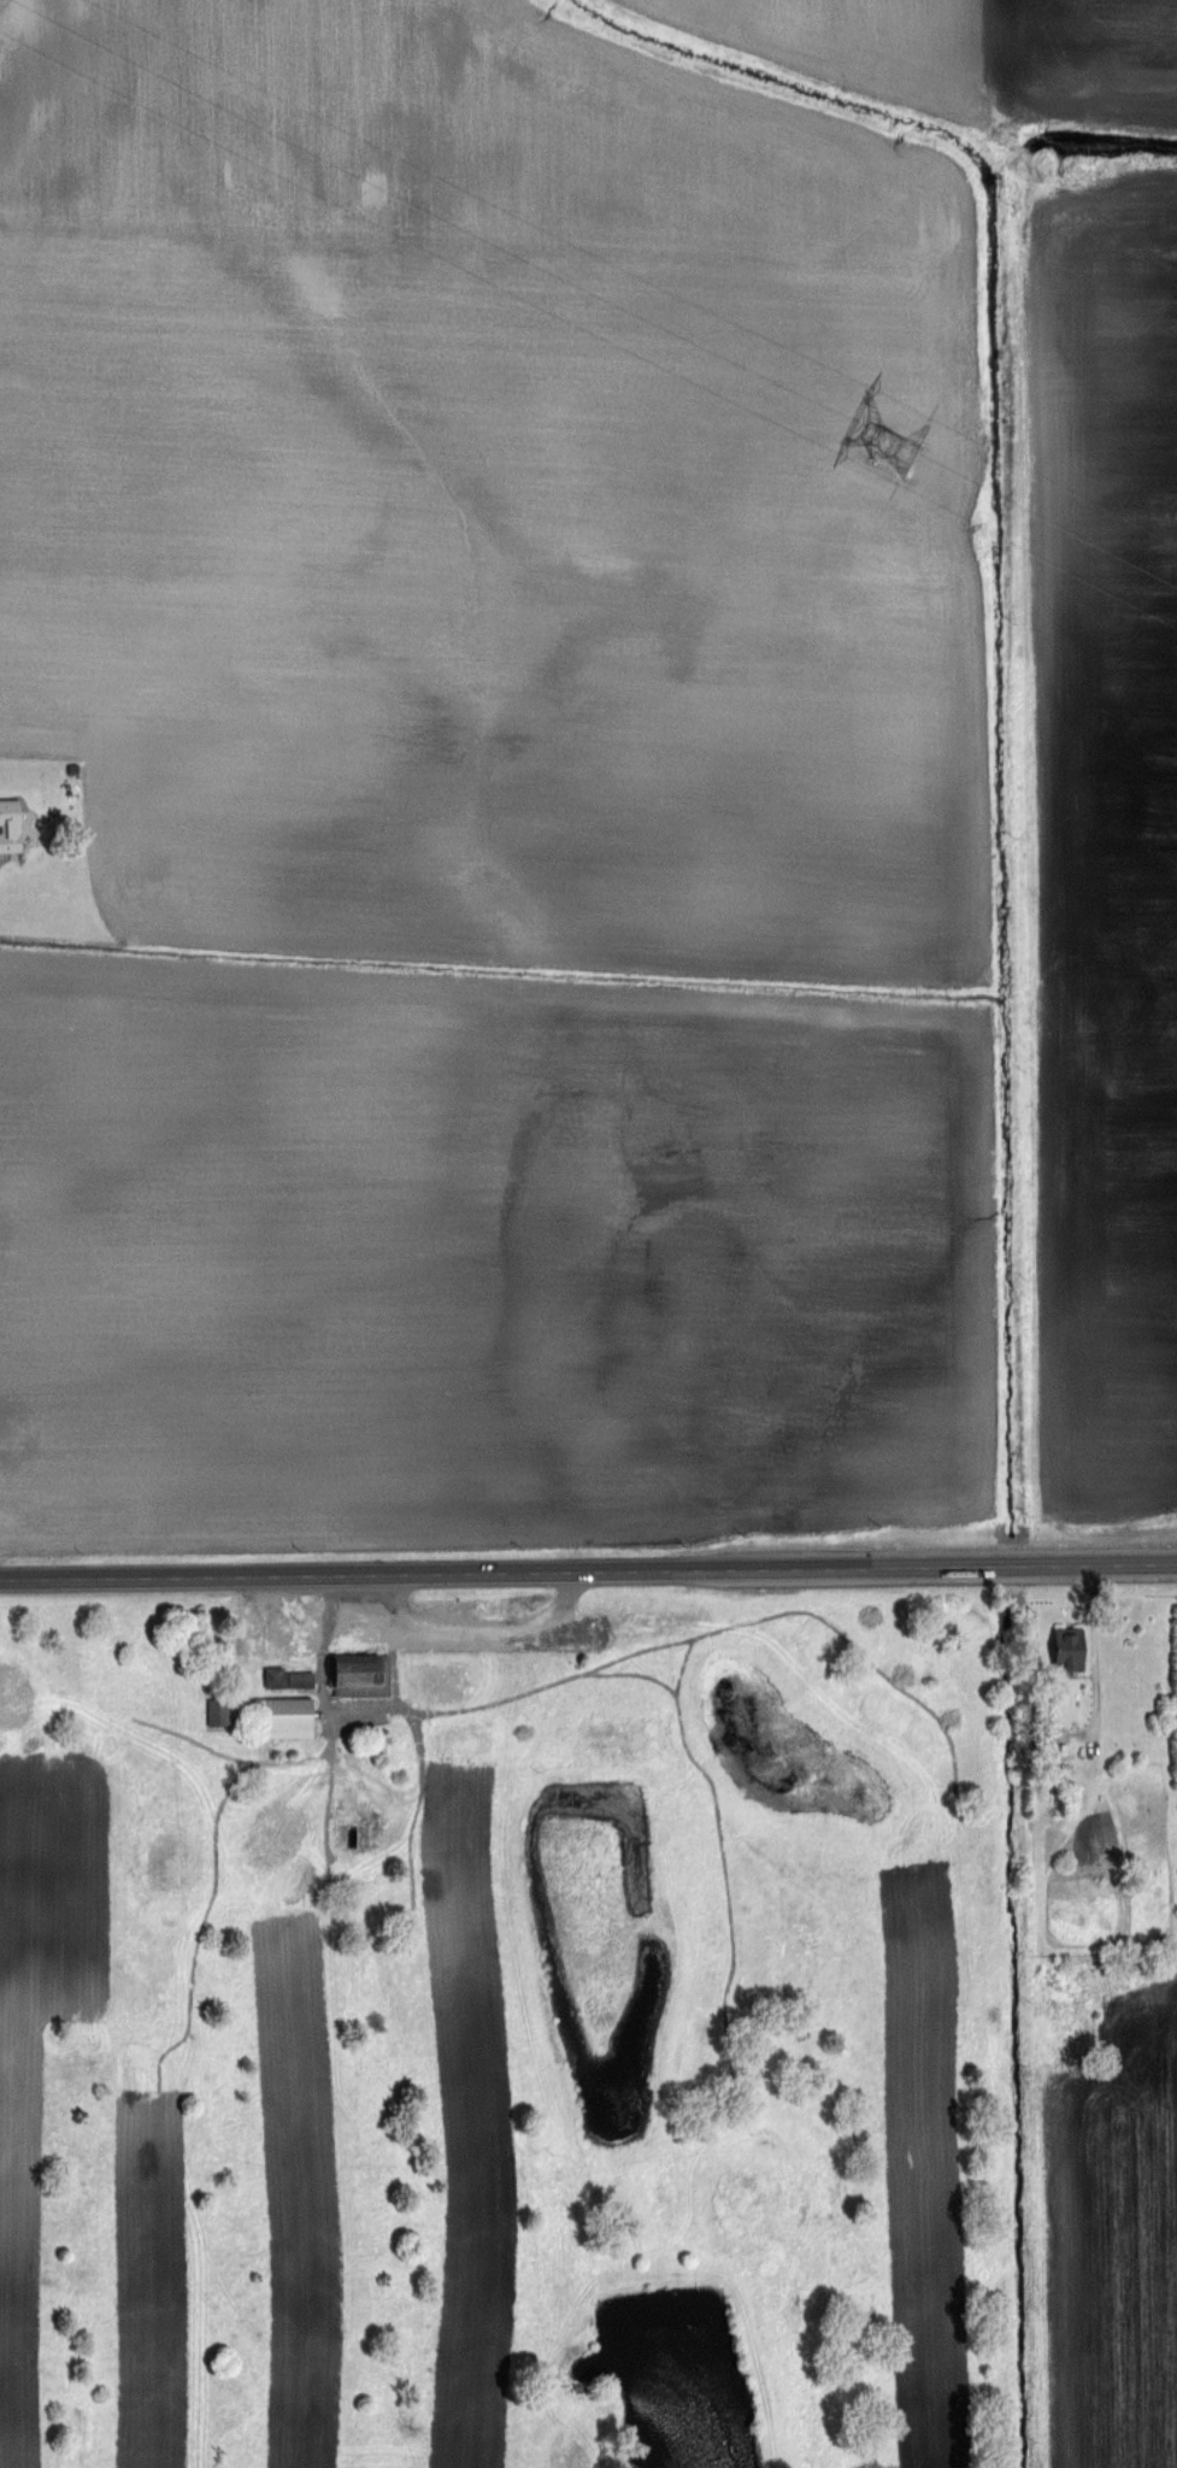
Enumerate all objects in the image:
power tower: (875, 447)
building: (10, 827)
road: (588, 1569)
road: (482, 1626)
building: (1066, 1649)
building: (361, 1676)
building: (273, 1677)
building: (300, 1680)
building: (220, 1714)
building: (283, 1720)
building: (358, 1828)
park: (510, 2020)

